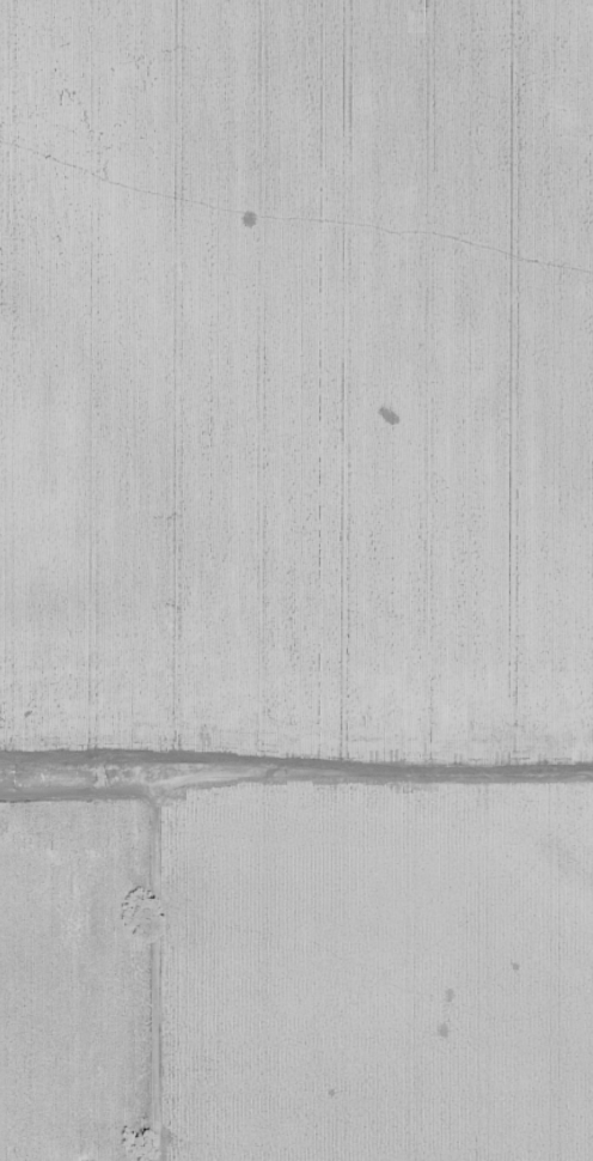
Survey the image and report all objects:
road: (204, 783)

